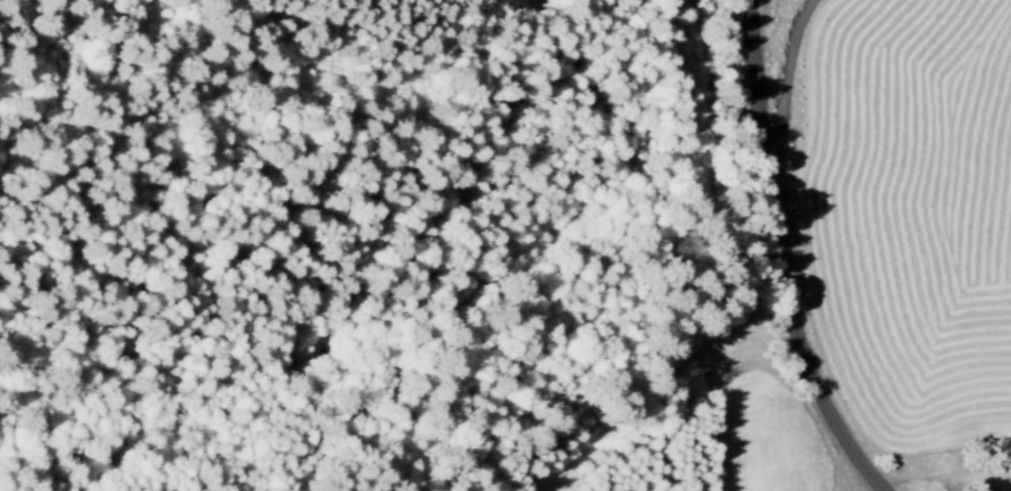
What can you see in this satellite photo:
road: (784, 60)
crop: (908, 203)
road: (779, 257)
crop: (759, 445)

